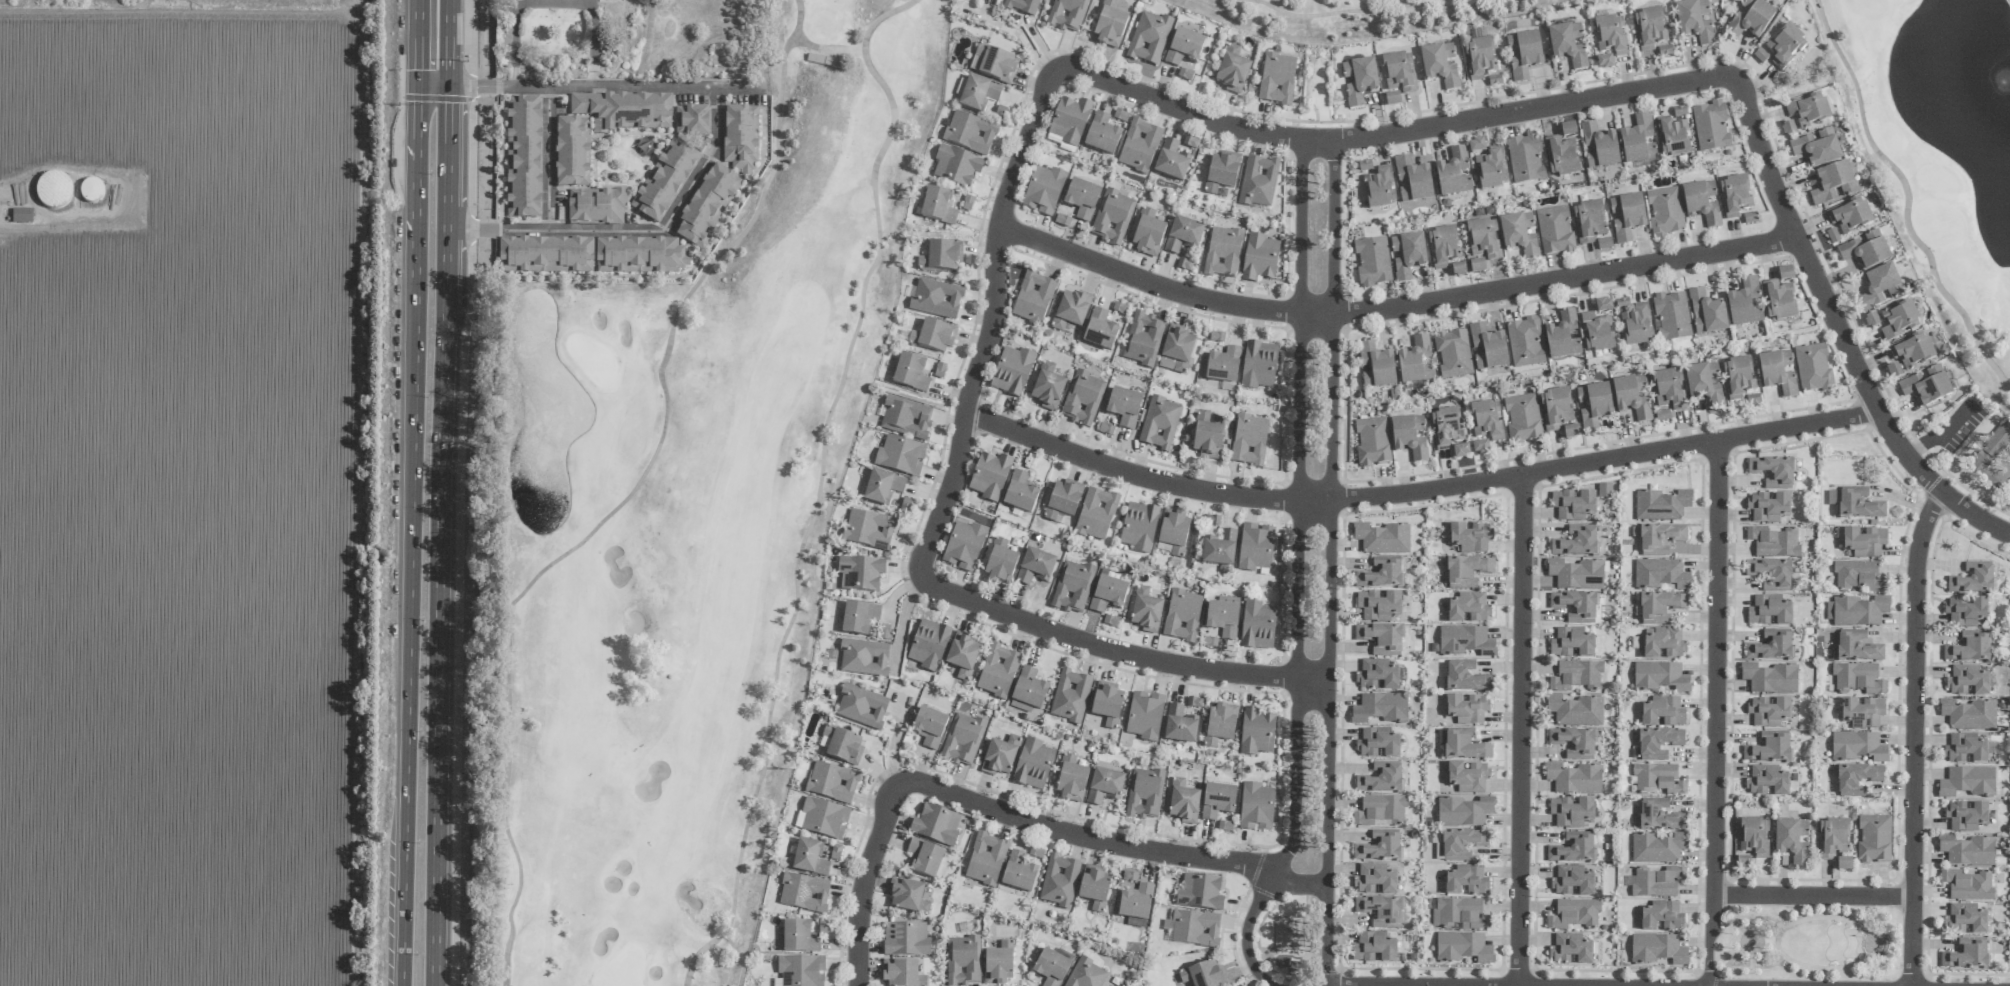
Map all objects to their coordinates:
road: (553, 3)
building: (1023, 6)
road: (1365, 11)
building: (1067, 14)
park: (1368, 15)
building: (1751, 19)
building: (1695, 22)
building: (1109, 25)
building: (1650, 27)
road: (1018, 32)
building: (1611, 35)
building: (1149, 38)
road: (417, 42)
building: (1567, 45)
building: (1785, 46)
road: (827, 50)
building: (1184, 50)
building: (1524, 54)
building: (1760, 56)
building: (1479, 58)
building: (824, 62)
building: (1605, 62)
building: (994, 64)
building: (1440, 65)
building: (1232, 70)
building: (1399, 72)
building: (1277, 79)
building: (1360, 81)
fountain: (2004, 81)
road: (589, 86)
road: (1661, 86)
building: (978, 94)
building: (1392, 99)
road: (471, 109)
building: (623, 110)
building: (1808, 110)
building: (1679, 111)
building: (692, 121)
building: (1069, 122)
building: (1710, 126)
building: (1788, 129)
building: (1568, 130)
building: (970, 132)
building: (1102, 135)
building: (740, 137)
building: (1673, 137)
building: (1638, 142)
building: (1139, 146)
building: (1476, 146)
building: (1599, 147)
building: (1817, 148)
park: (1940, 150)
building: (572, 152)
building: (524, 157)
building: (1562, 157)
road: (548, 158)
building: (1525, 159)
road: (704, 161)
building: (1171, 161)
building: (956, 166)
building: (1491, 169)
building: (1221, 172)
building: (1454, 172)
road: (415, 181)
building: (1413, 181)
building: (665, 182)
building: (1258, 182)
building: (1834, 184)
building: (1380, 188)
building: (1043, 190)
building: (1735, 196)
building: (1082, 199)
road: (1907, 199)
building: (1702, 202)
building: (596, 206)
building: (706, 206)
building: (938, 206)
building: (1665, 212)
building: (21, 216)
building: (1626, 216)
building: (1850, 216)
building: (1112, 217)
building: (1589, 222)
road: (472, 230)
road: (555, 231)
building: (1555, 231)
building: (1147, 233)
building: (1519, 234)
building: (1183, 235)
building: (1833, 236)
building: (1484, 239)
building: (1604, 243)
building: (1443, 246)
building: (1865, 250)
building: (1223, 252)
building: (546, 255)
building: (639, 255)
building: (1408, 255)
building: (941, 256)
building: (1259, 258)
building: (1372, 261)
building: (1477, 266)
building: (1785, 274)
building: (1033, 298)
building: (936, 299)
building: (1779, 301)
building: (1622, 303)
building: (1745, 304)
building: (1603, 305)
road: (1391, 308)
building: (1070, 311)
building: (1707, 313)
building: (1672, 316)
building: (1899, 320)
building: (1871, 321)
road: (988, 322)
building: (1637, 325)
building: (1100, 330)
building: (1596, 332)
building: (933, 336)
building: (1563, 336)
building: (1143, 339)
building: (1525, 343)
building: (1487, 348)
building: (1177, 350)
building: (1912, 351)
building: (1453, 353)
building: (1415, 361)
building: (1223, 365)
building: (1259, 365)
building: (1375, 366)
building: (1813, 368)
building: (1012, 371)
building: (1778, 372)
building: (910, 373)
building: (1738, 377)
building: (1704, 383)
building: (1926, 386)
building: (1048, 387)
building: (1669, 389)
building: (1632, 397)
building: (1083, 399)
building: (1594, 405)
building: (1124, 407)
building: (1555, 409)
building: (905, 418)
building: (1523, 419)
building: (1487, 420)
building: (1159, 424)
building: (1446, 428)
building: (1571, 432)
road: (1943, 432)
building: (1207, 437)
building: (1409, 437)
building: (1249, 440)
building: (1372, 441)
building: (1480, 447)
building: (1461, 451)
building: (900, 456)
building: (1992, 456)
building: (1773, 472)
building: (990, 476)
road: (819, 483)
building: (883, 487)
road: (1417, 490)
building: (1603, 490)
building: (1020, 492)
crop: (185, 493)
road: (442, 493)
road: (626, 499)
building: (1062, 499)
building: (1856, 504)
building: (1573, 505)
building: (1661, 505)
building: (1768, 508)
building: (1096, 514)
park: (686, 525)
building: (1139, 527)
building: (868, 530)
building: (1174, 532)
building: (1470, 538)
building: (1382, 539)
building: (1660, 539)
building: (1577, 542)
building: (1773, 542)
building: (1864, 542)
building: (963, 546)
building: (1255, 547)
building: (1219, 549)
building: (999, 564)
road: (1328, 565)
building: (1035, 567)
building: (1467, 570)
building: (860, 573)
road: (1296, 573)
building: (1381, 574)
building: (1576, 574)
building: (1660, 574)
building: (1770, 574)
building: (1858, 576)
building: (1972, 579)
building: (1072, 587)
building: (1108, 595)
building: (1378, 605)
building: (1576, 606)
building: (1660, 607)
building: (1468, 608)
building: (1145, 611)
building: (1769, 611)
building: (1857, 611)
building: (1965, 611)
road: (458, 613)
building: (1182, 616)
building: (1223, 617)
building: (858, 618)
road: (901, 625)
building: (1257, 626)
road: (407, 632)
building: (1381, 638)
building: (1465, 641)
building: (1571, 644)
building: (1664, 644)
building: (929, 645)
building: (1771, 646)
building: (1858, 647)
building: (1969, 648)
road: (1121, 649)
building: (962, 656)
building: (863, 658)
road: (1715, 668)
building: (998, 671)
building: (1377, 675)
building: (1576, 675)
building: (1466, 677)
building: (1660, 677)
building: (1770, 678)
building: (1857, 678)
building: (1967, 680)
building: (1028, 691)
building: (1070, 696)
building: (1194, 702)
building: (1107, 703)
building: (861, 707)
building: (1380, 708)
building: (1467, 709)
building: (1575, 711)
building: (1663, 712)
building: (1769, 712)
building: (1862, 713)
building: (1968, 715)
building: (1145, 716)
building: (1220, 724)
building: (1180, 725)
building: (929, 727)
road: (1519, 730)
building: (1256, 732)
road: (1913, 736)
road: (895, 737)
building: (962, 740)
building: (1574, 743)
building: (1658, 743)
building: (1377, 744)
building: (843, 746)
building: (1464, 746)
building: (1858, 747)
building: (1769, 748)
building: (1965, 749)
building: (1033, 764)
building: (1468, 777)
building: (1381, 778)
building: (1071, 779)
building: (1574, 779)
building: (1658, 779)
building: (1857, 779)
building: (1767, 781)
building: (832, 782)
building: (1966, 782)
building: (1104, 786)
building: (1144, 794)
building: (1217, 801)
building: (1183, 802)
building: (1256, 807)
building: (1379, 810)
building: (1463, 811)
building: (1571, 812)
building: (1659, 816)
building: (1965, 816)
building: (822, 818)
building: (936, 825)
building: (1754, 837)
building: (1833, 838)
building: (1874, 839)
building: (1792, 840)
road: (1108, 843)
building: (1462, 844)
building: (1380, 847)
building: (1657, 848)
building: (1573, 849)
building: (1967, 851)
building: (836, 852)
building: (924, 857)
building: (809, 858)
building: (986, 859)
building: (1743, 862)
building: (1844, 863)
building: (1018, 873)
building: (1129, 878)
building: (1375, 880)
building: (1466, 880)
road: (861, 881)
building: (1059, 881)
building: (1572, 882)
building: (1654, 882)
building: (1967, 885)
building: (1094, 887)
building: (804, 892)
building: (1200, 893)
road: (1813, 896)
building: (908, 897)
building: (1135, 905)
building: (1381, 911)
building: (1460, 913)
building: (1573, 914)
building: (1662, 916)
building: (1967, 917)
road: (1759, 918)
road: (1736, 922)
road: (1751, 926)
building: (1195, 928)
road: (1748, 935)
road: (1754, 935)
road: (1871, 935)
building: (798, 937)
building: (906, 939)
road: (1708, 940)
road: (1744, 942)
road: (1757, 945)
building: (1374, 947)
building: (1462, 947)
building: (1657, 949)
road: (1748, 949)
building: (1570, 950)
building: (1967, 955)
road: (1751, 959)
building: (963, 961)
road: (1731, 961)
building: (999, 964)
building: (1051, 968)
road: (1755, 968)
building: (801, 970)
building: (902, 974)
building: (1086, 974)
building: (1204, 975)

